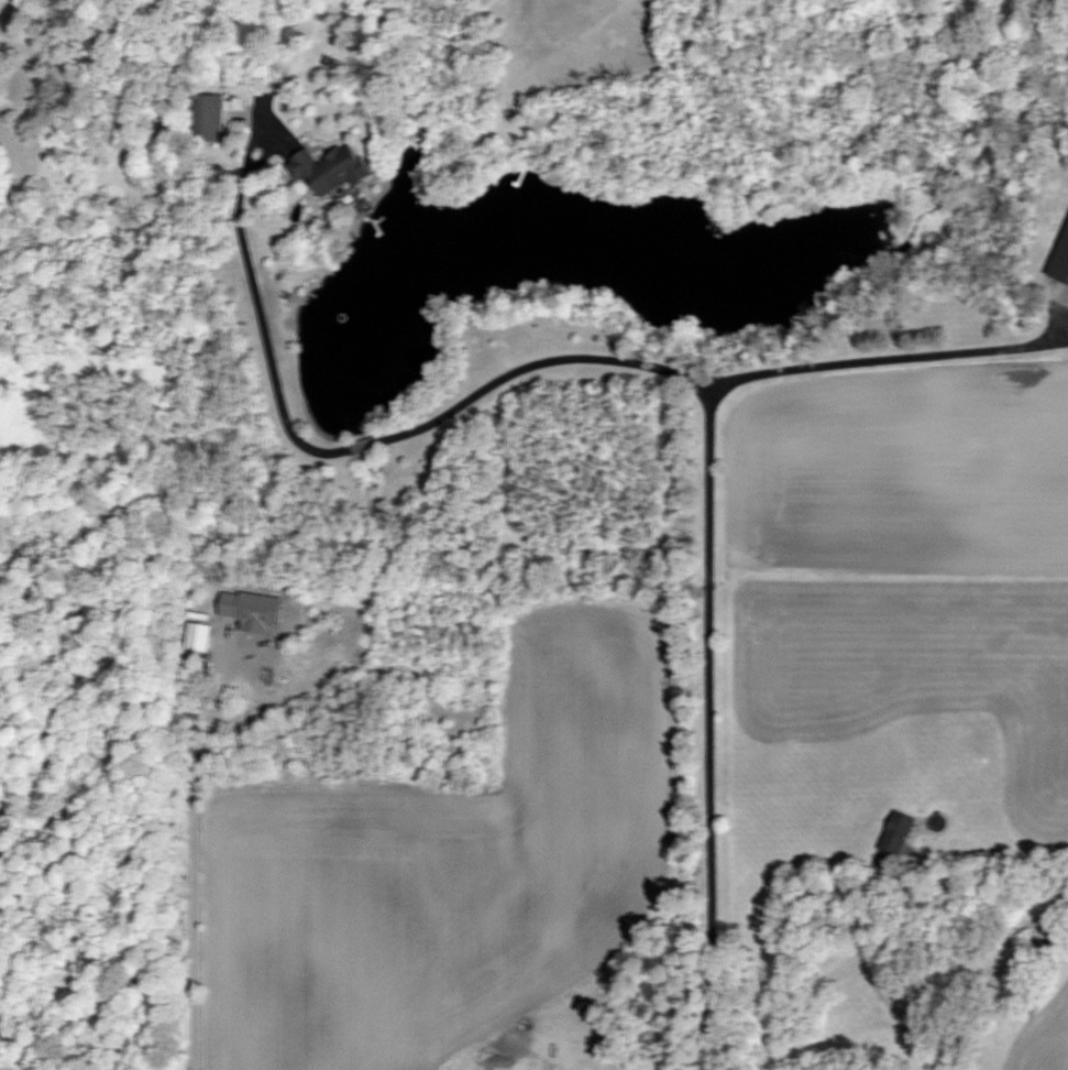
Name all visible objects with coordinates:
building: (205, 117)
building: (330, 166)
building: (1061, 261)
road: (880, 357)
road: (682, 376)
building: (894, 840)
road: (195, 865)
road: (870, 976)
road: (498, 1057)

